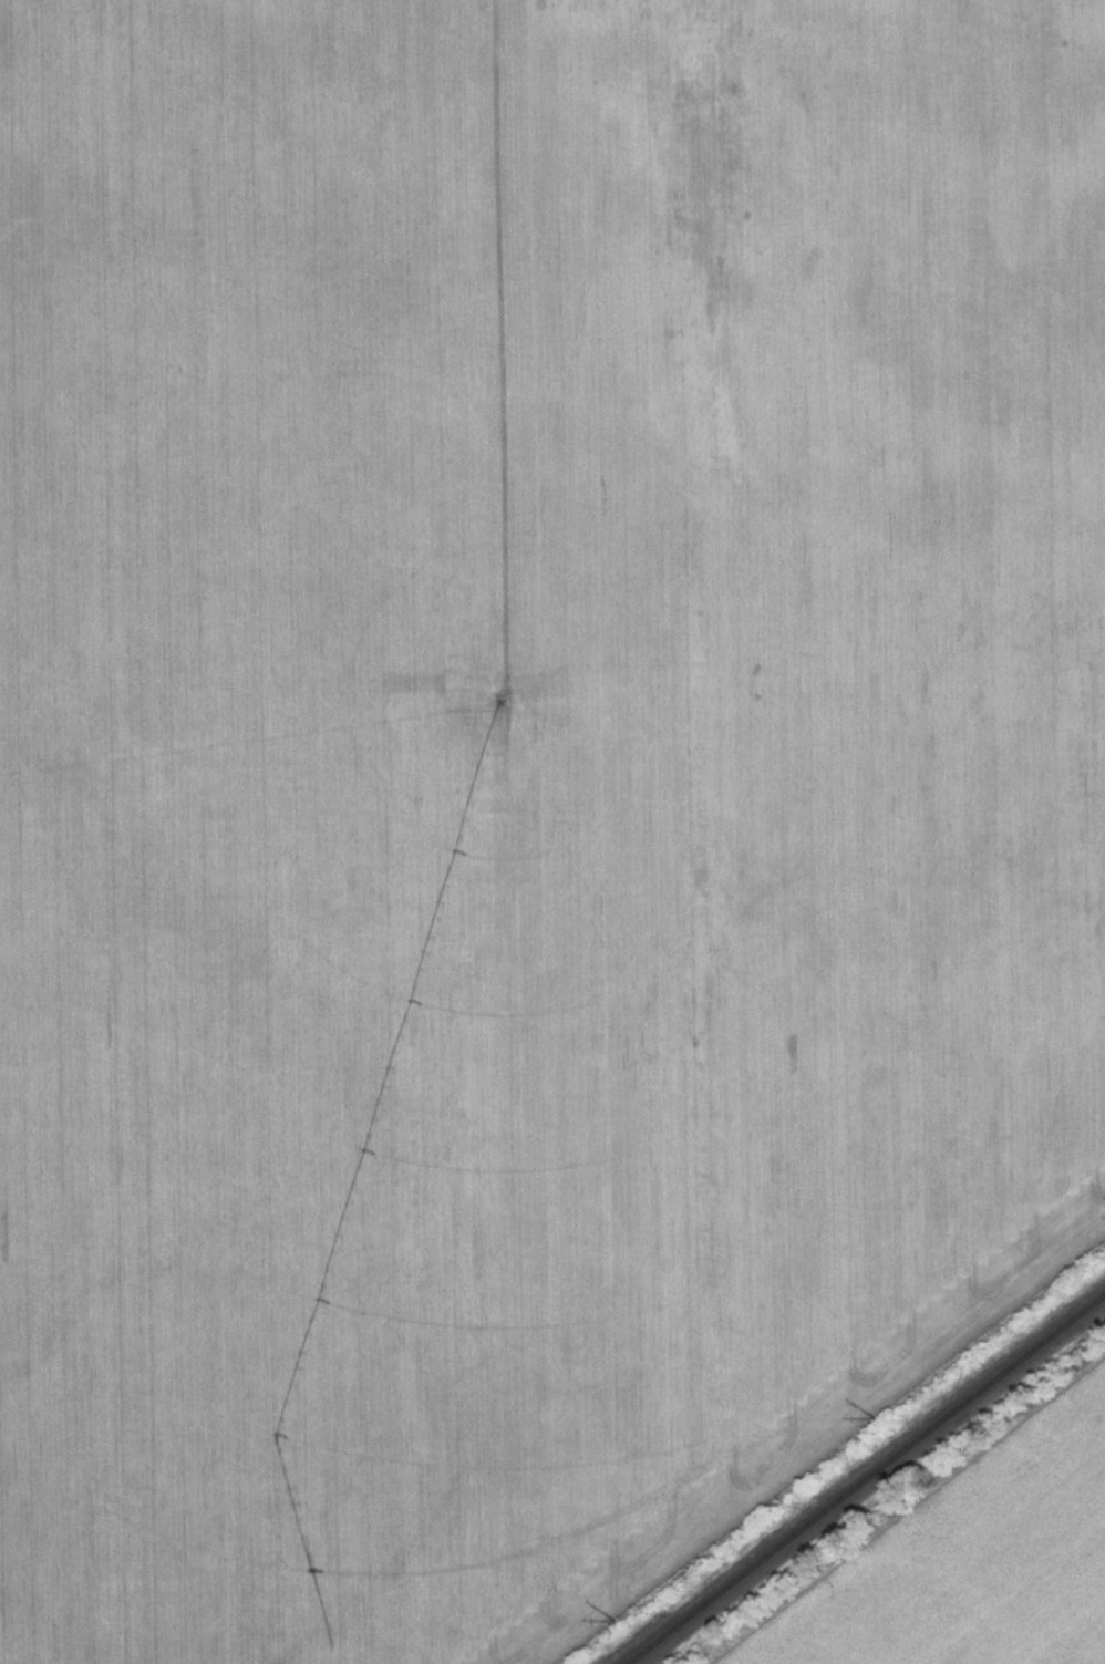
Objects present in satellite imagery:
building: (681, 185)
building: (734, 277)
crop: (527, 785)
railway: (860, 1472)
crop: (971, 1560)

